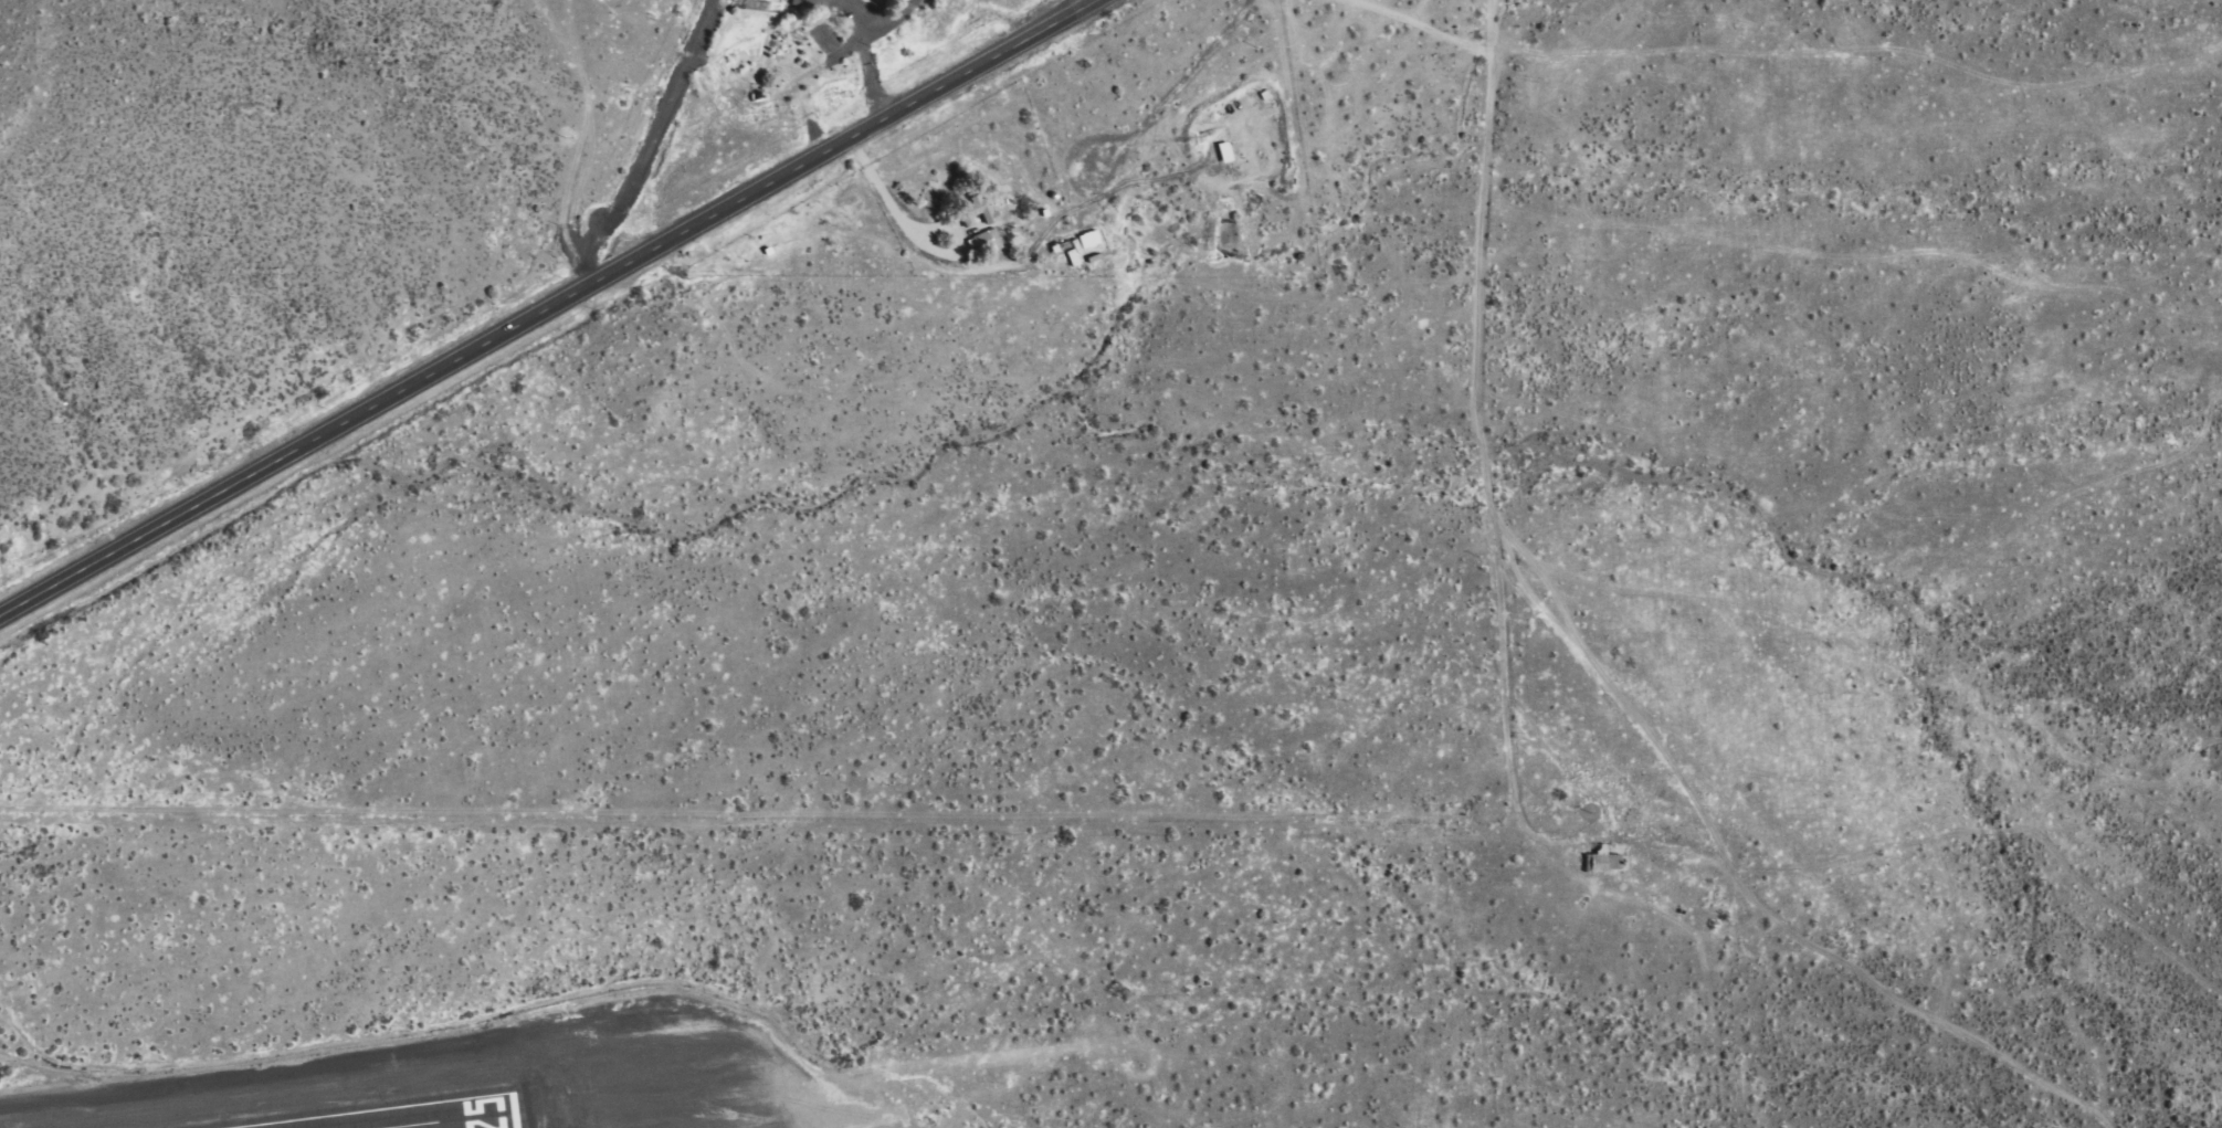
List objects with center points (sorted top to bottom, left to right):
road: (634, 147)
building: (977, 210)
road: (541, 305)
airport: (668, 979)
airport runway: (451, 1119)

